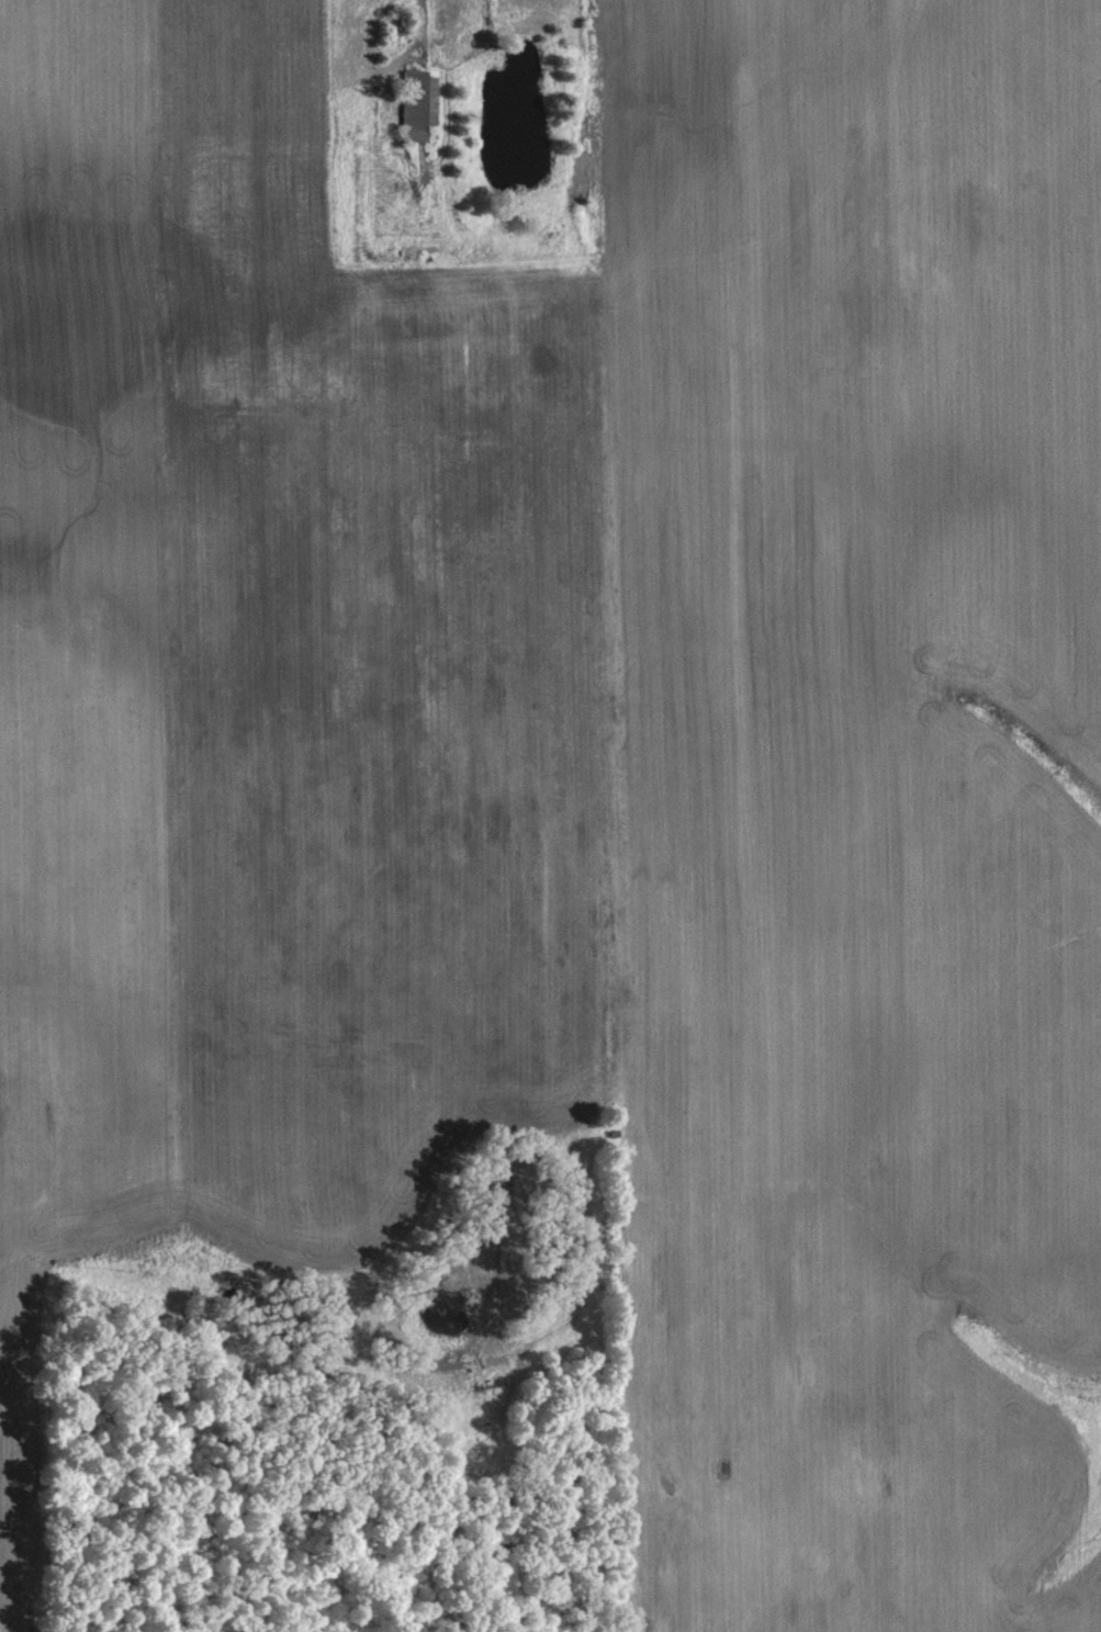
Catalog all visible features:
building: (419, 103)

